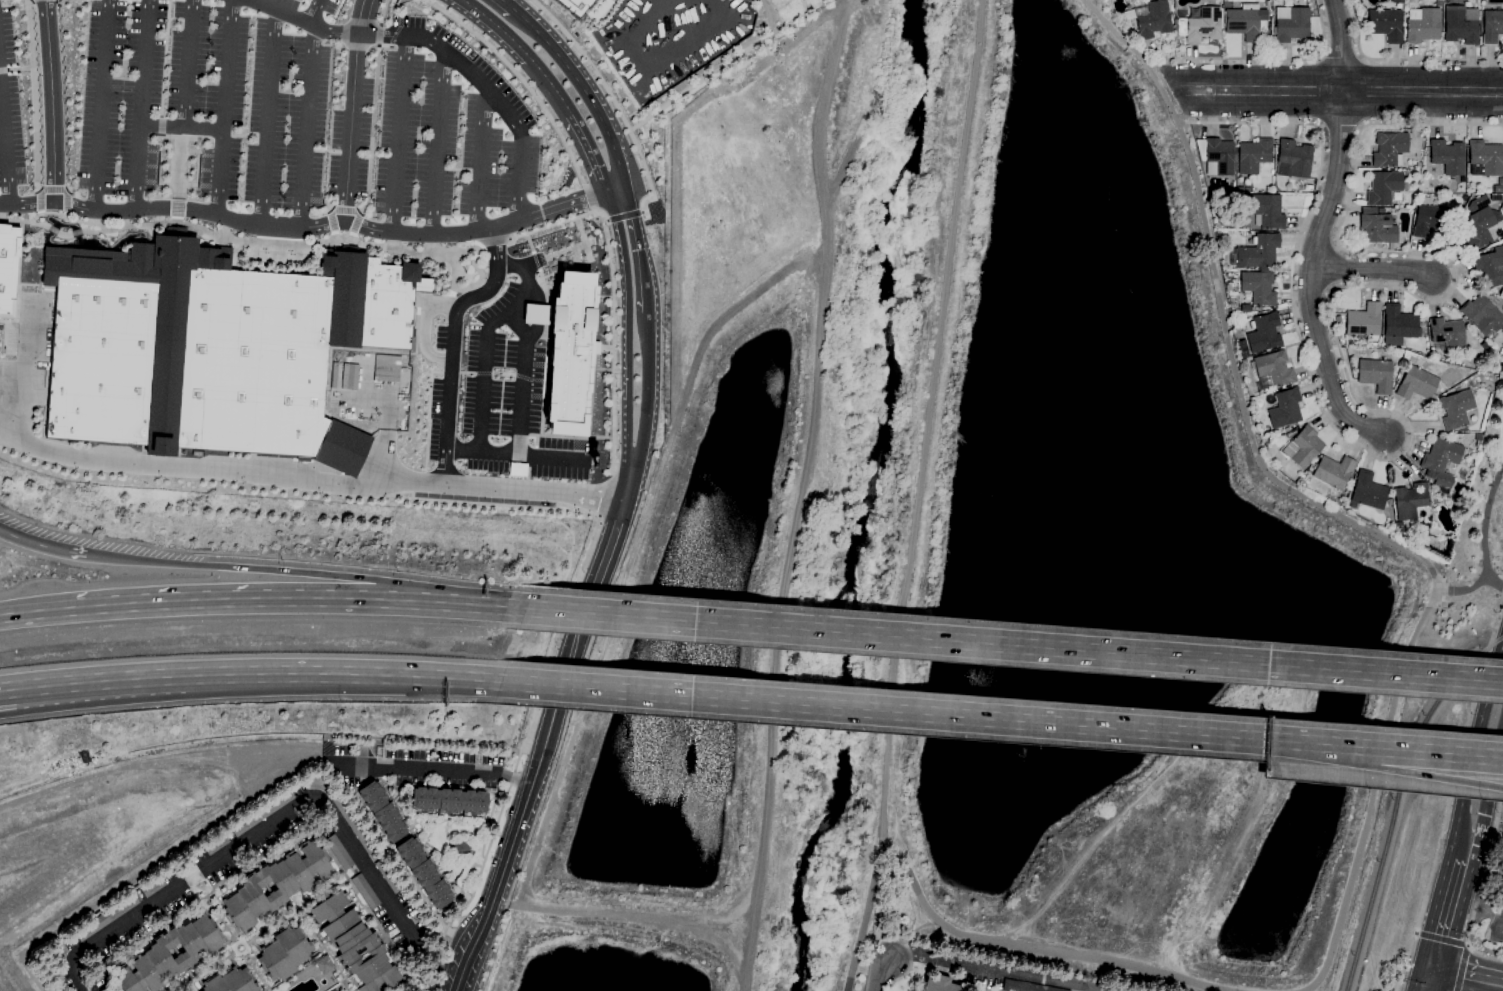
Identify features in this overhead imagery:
building: (1397, 1)
building: (1438, 3)
road: (506, 5)
building: (573, 5)
road: (380, 11)
road: (314, 12)
road: (361, 17)
building: (1153, 19)
building: (1246, 22)
road: (362, 23)
building: (1291, 24)
building: (1384, 24)
building: (1460, 24)
building: (1422, 25)
building: (1198, 26)
building: (1491, 26)
road: (1321, 27)
road: (1112, 28)
road: (395, 31)
road: (344, 33)
road: (377, 35)
road: (354, 45)
road: (1340, 45)
road: (383, 46)
road: (442, 50)
road: (522, 51)
road: (1341, 57)
road: (163, 58)
road: (1238, 58)
road: (1402, 58)
road: (187, 63)
road: (17, 69)
road: (2, 70)
road: (713, 72)
road: (582, 91)
road: (1263, 91)
road: (1422, 91)
road: (31, 96)
road: (612, 100)
road: (51, 101)
road: (100, 106)
road: (141, 106)
road: (222, 107)
road: (1184, 113)
road: (267, 118)
road: (158, 126)
road: (180, 126)
road: (351, 127)
road: (307, 128)
road: (370, 130)
road: (395, 133)
road: (248, 134)
road: (178, 138)
road: (220, 138)
road: (434, 142)
building: (1389, 149)
road: (593, 152)
building: (1216, 156)
building: (1254, 156)
building: (1448, 157)
road: (4, 159)
building: (1484, 159)
road: (477, 160)
building: (1293, 160)
road: (176, 168)
road: (676, 169)
building: (1384, 187)
building: (1498, 188)
building: (1242, 189)
road: (52, 190)
road: (617, 190)
building: (1477, 203)
road: (562, 205)
road: (325, 207)
road: (175, 208)
road: (329, 208)
road: (344, 209)
building: (1368, 210)
road: (358, 211)
building: (1267, 211)
road: (624, 216)
building: (1431, 218)
road: (175, 219)
road: (605, 220)
road: (330, 221)
road: (354, 223)
road: (552, 225)
road: (258, 227)
building: (1479, 227)
building: (1379, 229)
road: (334, 234)
road: (351, 237)
flagpole: (173, 240)
road: (493, 241)
road: (266, 243)
road: (478, 248)
road: (638, 250)
road: (20, 252)
building: (1257, 253)
building: (7, 268)
building: (1489, 268)
road: (1372, 270)
road: (453, 273)
road: (524, 278)
road: (1310, 278)
road: (33, 284)
building: (1259, 287)
building: (1501, 292)
road: (450, 293)
road: (446, 302)
road: (538, 316)
building: (1482, 316)
road: (2, 320)
road: (15, 320)
building: (1364, 322)
building: (1399, 325)
road: (627, 328)
road: (421, 331)
building: (1264, 333)
building: (1447, 335)
road: (450, 342)
building: (1484, 345)
building: (215, 348)
road: (612, 349)
building: (1243, 349)
road: (18, 351)
building: (566, 351)
road: (23, 360)
building: (1243, 362)
road: (39, 363)
building: (387, 369)
building: (1272, 370)
building: (1375, 375)
building: (348, 376)
road: (482, 379)
road: (521, 382)
building: (1416, 383)
road: (1348, 385)
road: (647, 390)
building: (1285, 409)
building: (1456, 409)
road: (929, 413)
building: (1477, 437)
road: (1252, 441)
building: (1303, 447)
road: (480, 455)
road: (545, 459)
building: (1440, 461)
building: (1333, 471)
road: (310, 481)
road: (628, 484)
building: (1367, 491)
road: (798, 494)
river: (866, 497)
building: (1412, 501)
building: (504, 503)
building: (1399, 527)
road: (40, 546)
road: (632, 549)
road: (1487, 549)
road: (608, 550)
park: (1476, 551)
railway: (1482, 562)
road: (290, 571)
road: (1496, 583)
road: (276, 600)
road: (510, 606)
road: (28, 614)
road: (1498, 621)
road: (1013, 645)
road: (272, 673)
road: (567, 673)
railway: (1463, 675)
road: (23, 686)
street lamp: (338, 699)
road: (25, 704)
road: (883, 710)
road: (1303, 743)
railway: (1419, 745)
road: (1477, 748)
building: (378, 751)
road: (1421, 751)
road: (282, 764)
parking lot: (413, 766)
street lamp: (520, 766)
road: (1383, 767)
road: (407, 769)
road: (47, 771)
road: (1418, 774)
road: (514, 780)
road: (1488, 798)
building: (448, 801)
building: (382, 811)
road: (231, 813)
building: (261, 813)
road: (1447, 814)
road: (487, 817)
building: (352, 823)
road: (464, 823)
road: (445, 833)
road: (341, 836)
building: (215, 844)
building: (460, 849)
building: (338, 852)
street lamp: (490, 857)
road: (1463, 857)
building: (423, 872)
road: (502, 872)
building: (386, 875)
road: (465, 876)
road: (477, 876)
road: (225, 878)
railway: (1375, 882)
building: (276, 885)
building: (151, 886)
road: (1478, 890)
building: (365, 891)
road: (465, 892)
building: (1501, 894)
road: (1347, 897)
road: (592, 913)
road: (1446, 915)
building: (105, 917)
road: (266, 924)
road: (1498, 924)
road: (943, 927)
road: (110, 931)
parking lot: (1497, 936)
road: (1440, 940)
building: (352, 941)
road: (723, 947)
road: (244, 950)
building: (155, 953)
building: (282, 954)
road: (320, 956)
building: (323, 964)
road: (207, 965)
road: (995, 968)
road: (1461, 968)
road: (907, 969)
traffic signals: (1430, 970)
road: (254, 971)
road: (881, 972)
road: (1466, 976)
road: (1427, 980)
building: (230, 981)
building: (371, 985)
building: (940, 985)
road: (412, 986)
road: (182, 987)
building: (1025, 987)
building: (105, 989)

